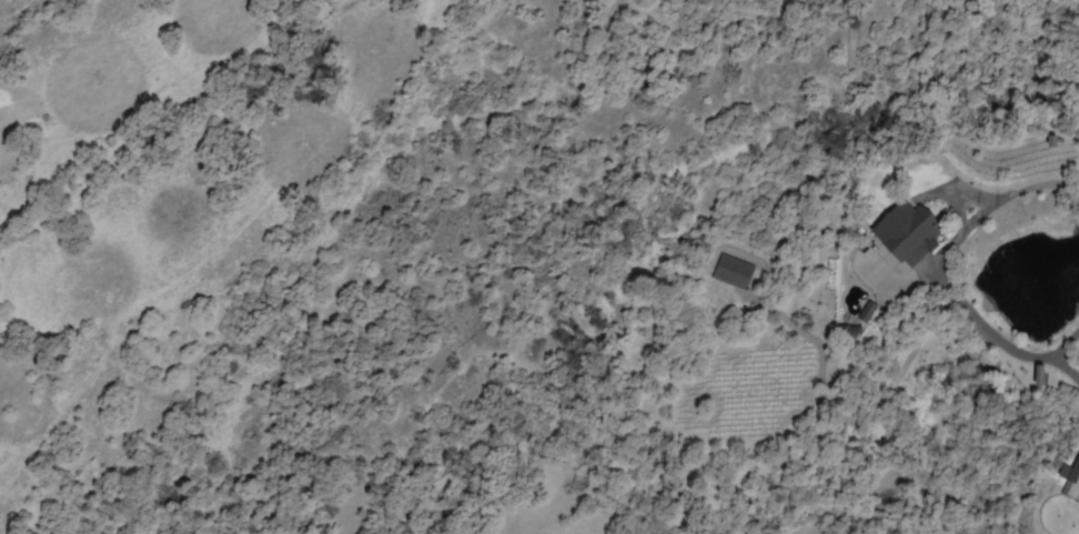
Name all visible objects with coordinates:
building: (910, 231)
road: (996, 341)
building: (1076, 477)

